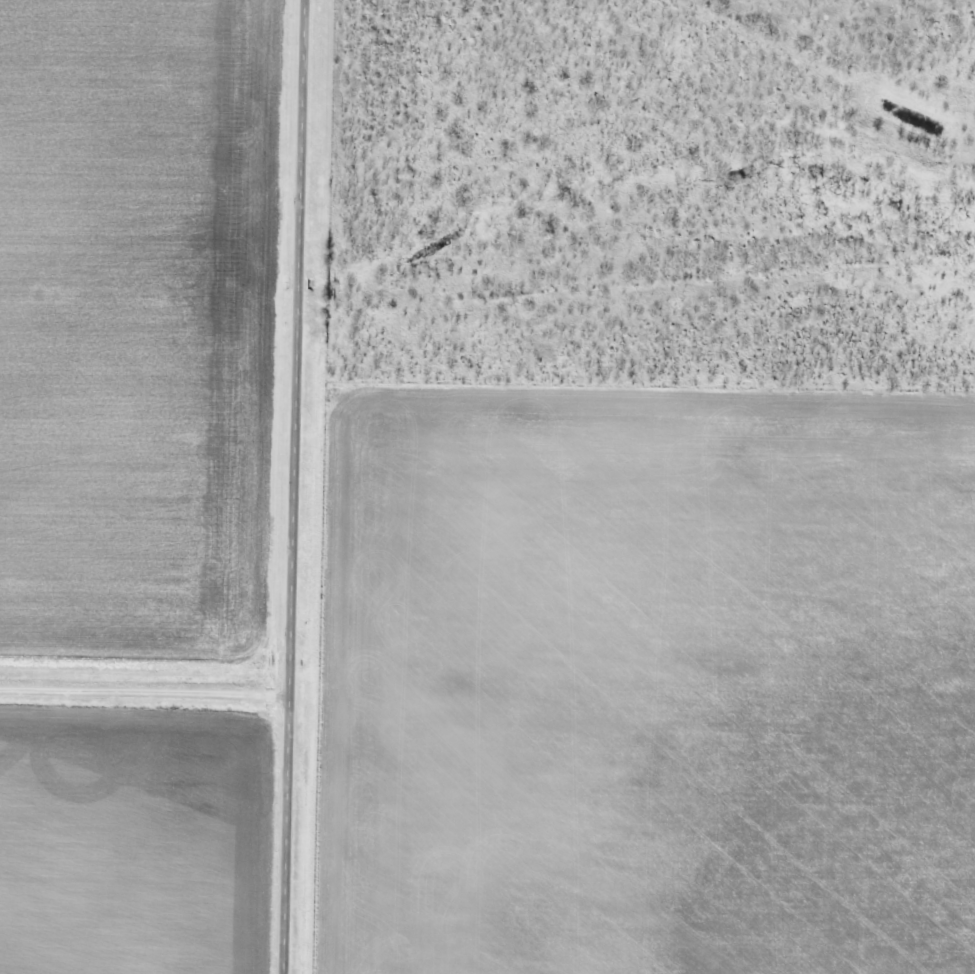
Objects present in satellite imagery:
road: (296, 487)
road: (145, 697)

